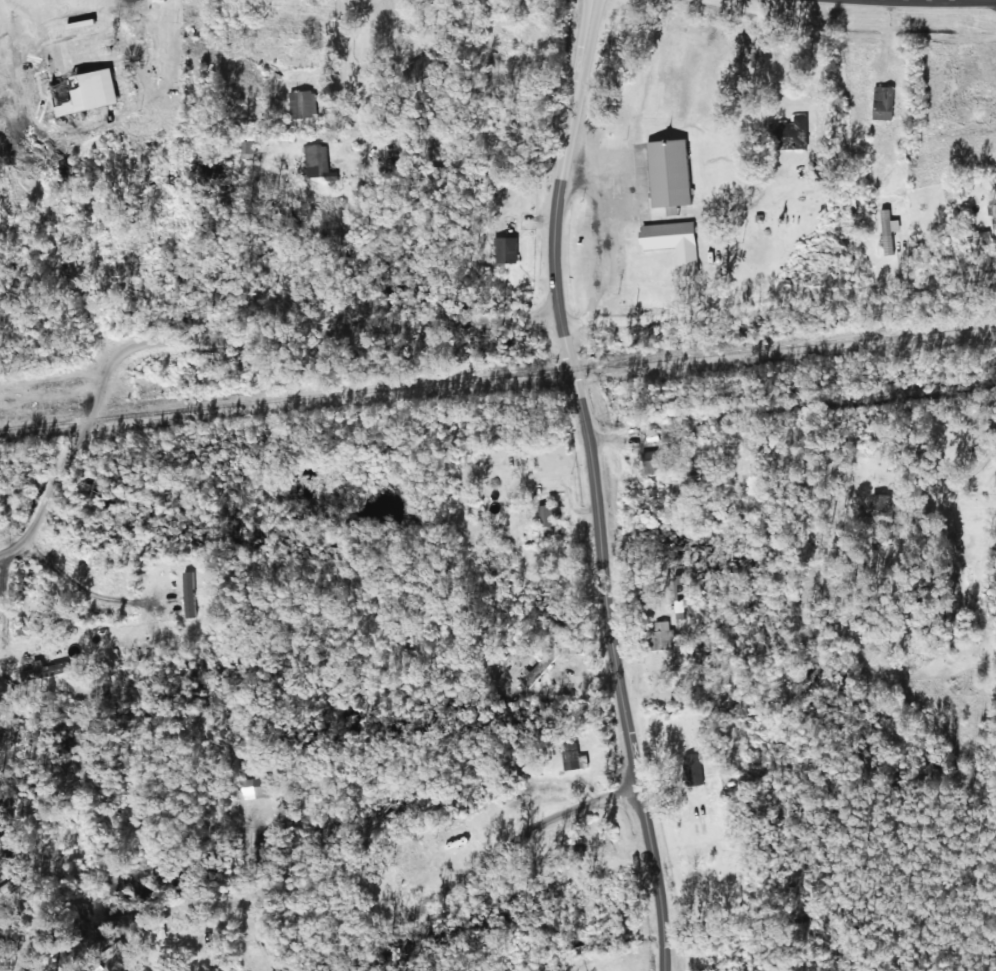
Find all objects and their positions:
road: (354, 48)
building: (423, 68)
building: (83, 91)
building: (882, 103)
building: (302, 104)
building: (788, 133)
building: (247, 149)
building: (315, 162)
building: (668, 174)
building: (992, 214)
building: (888, 231)
building: (673, 243)
building: (504, 250)
road: (425, 320)
railway: (498, 378)
road: (591, 484)
building: (878, 503)
building: (547, 518)
building: (676, 610)
building: (657, 635)
building: (537, 670)
building: (40, 672)
road: (991, 686)
building: (572, 757)
building: (692, 769)
building: (252, 786)
building: (453, 832)
building: (438, 839)
road: (463, 884)
building: (155, 933)
building: (119, 963)

